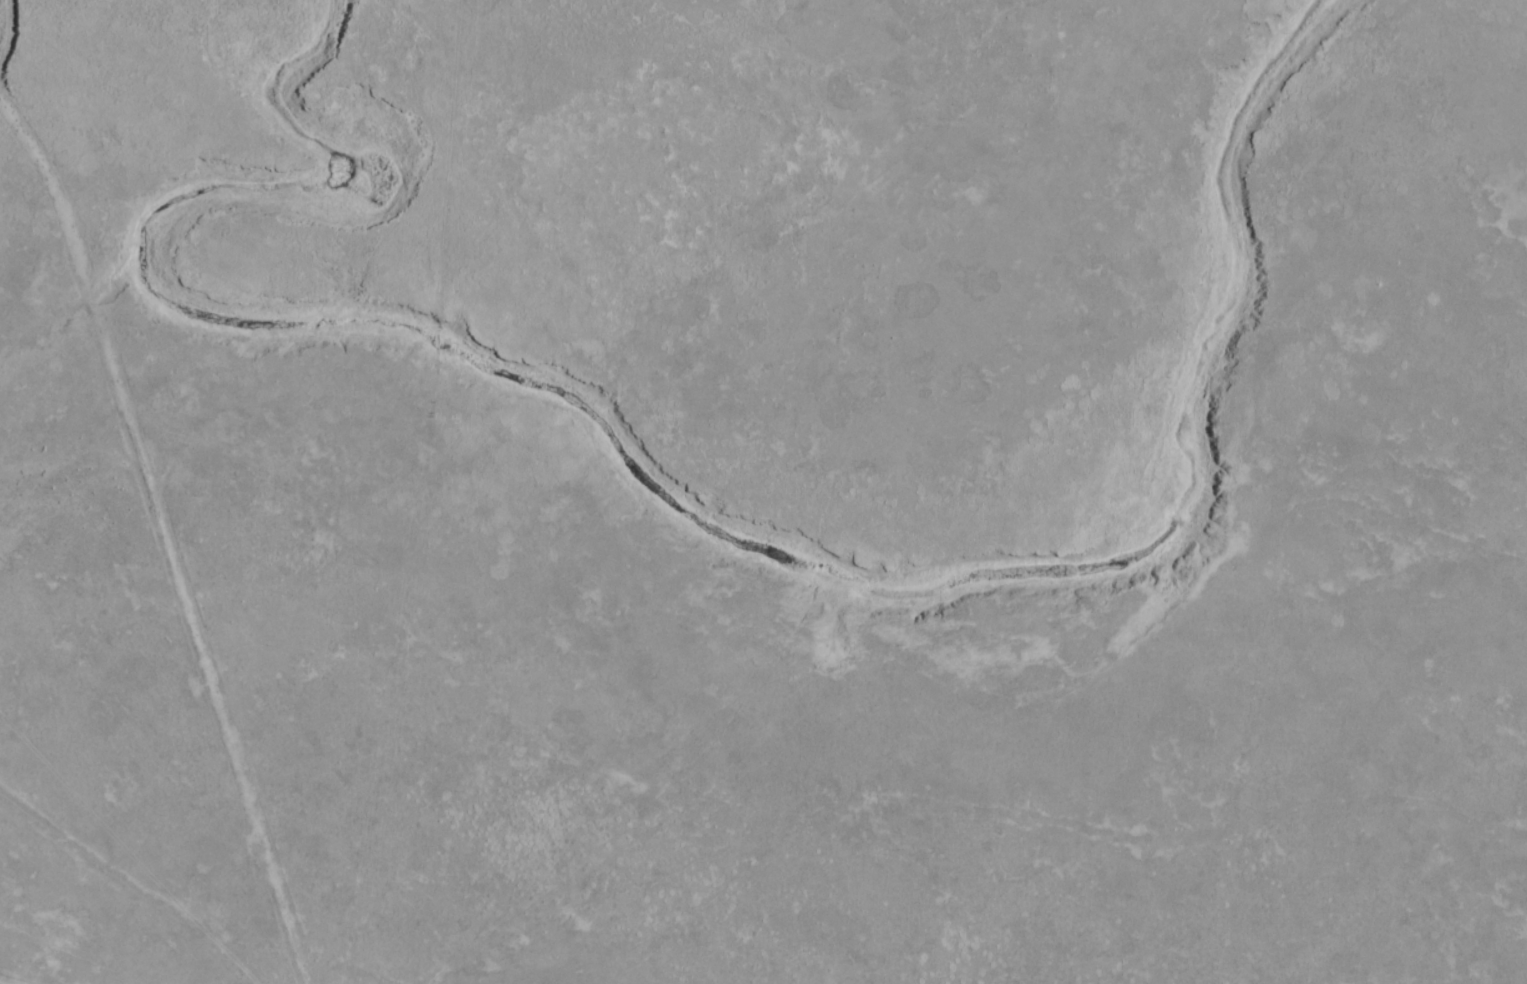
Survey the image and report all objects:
road: (48, 965)

